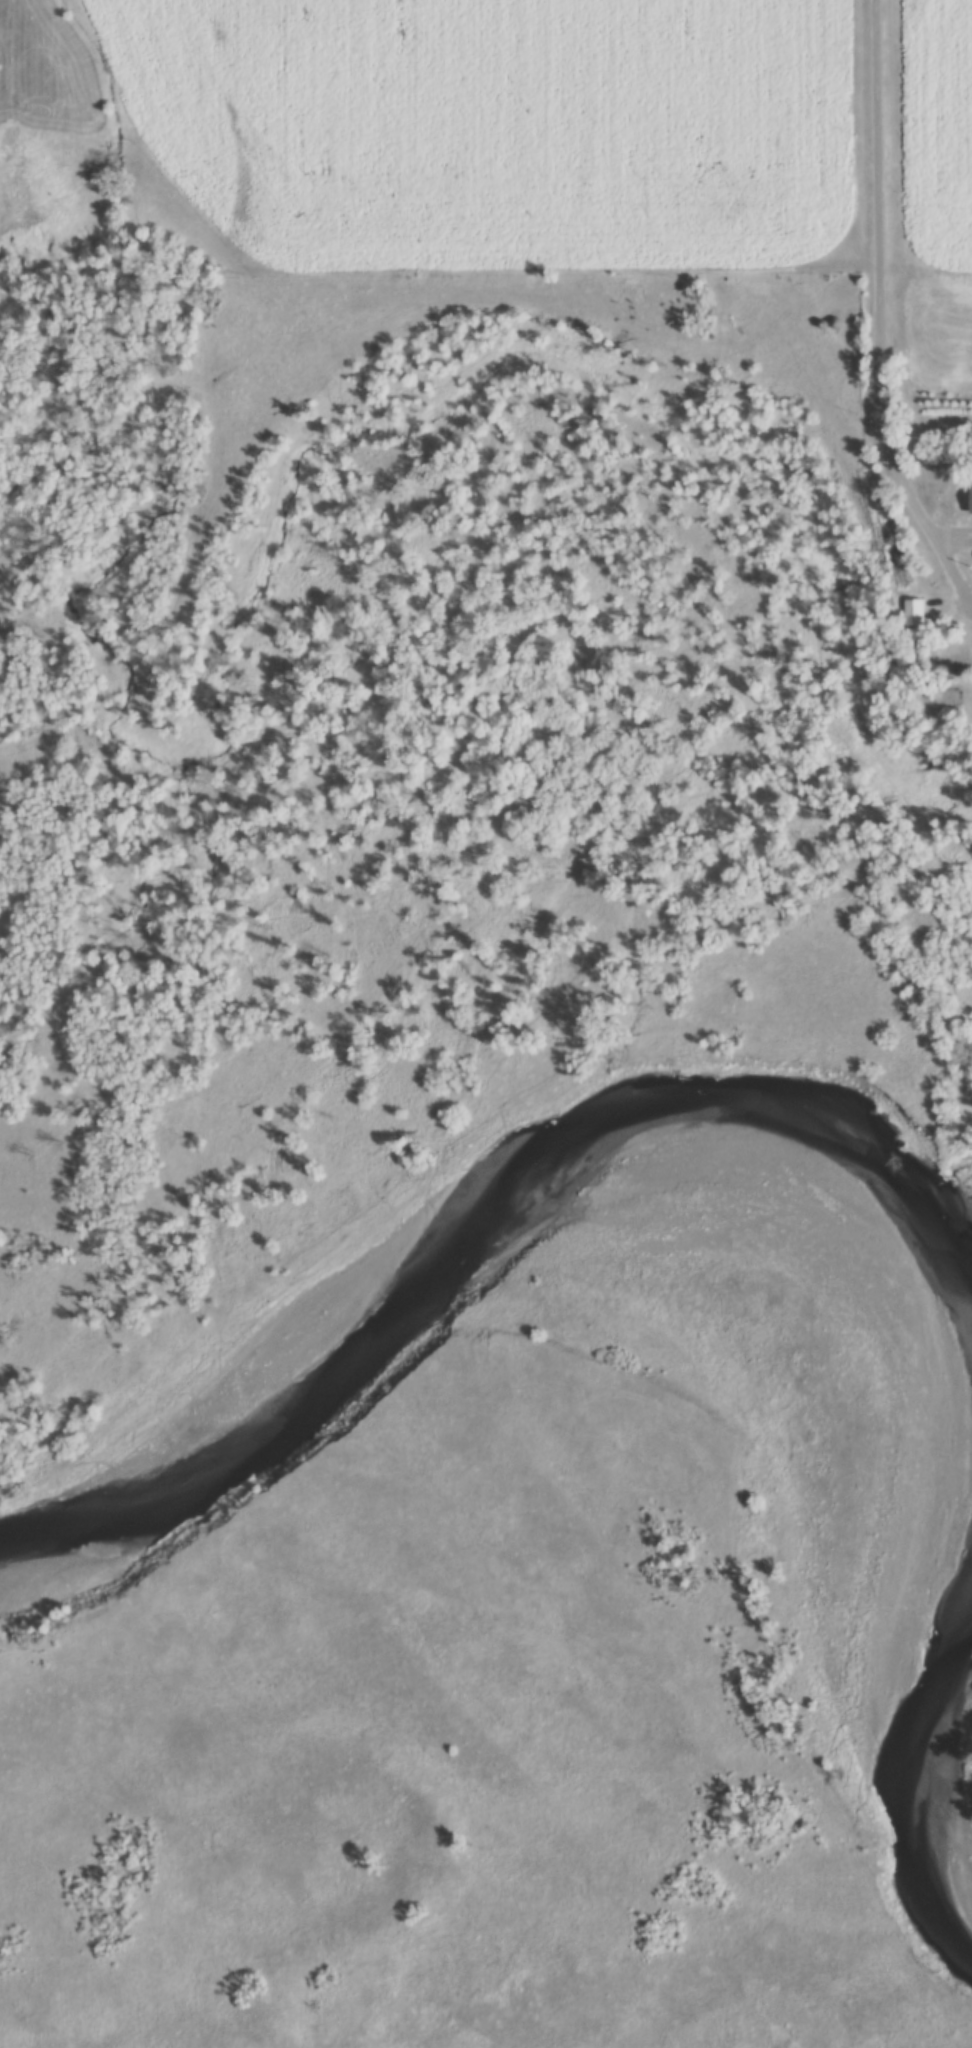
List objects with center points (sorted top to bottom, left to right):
road: (883, 274)
building: (971, 501)
building: (918, 612)
building: (949, 657)

